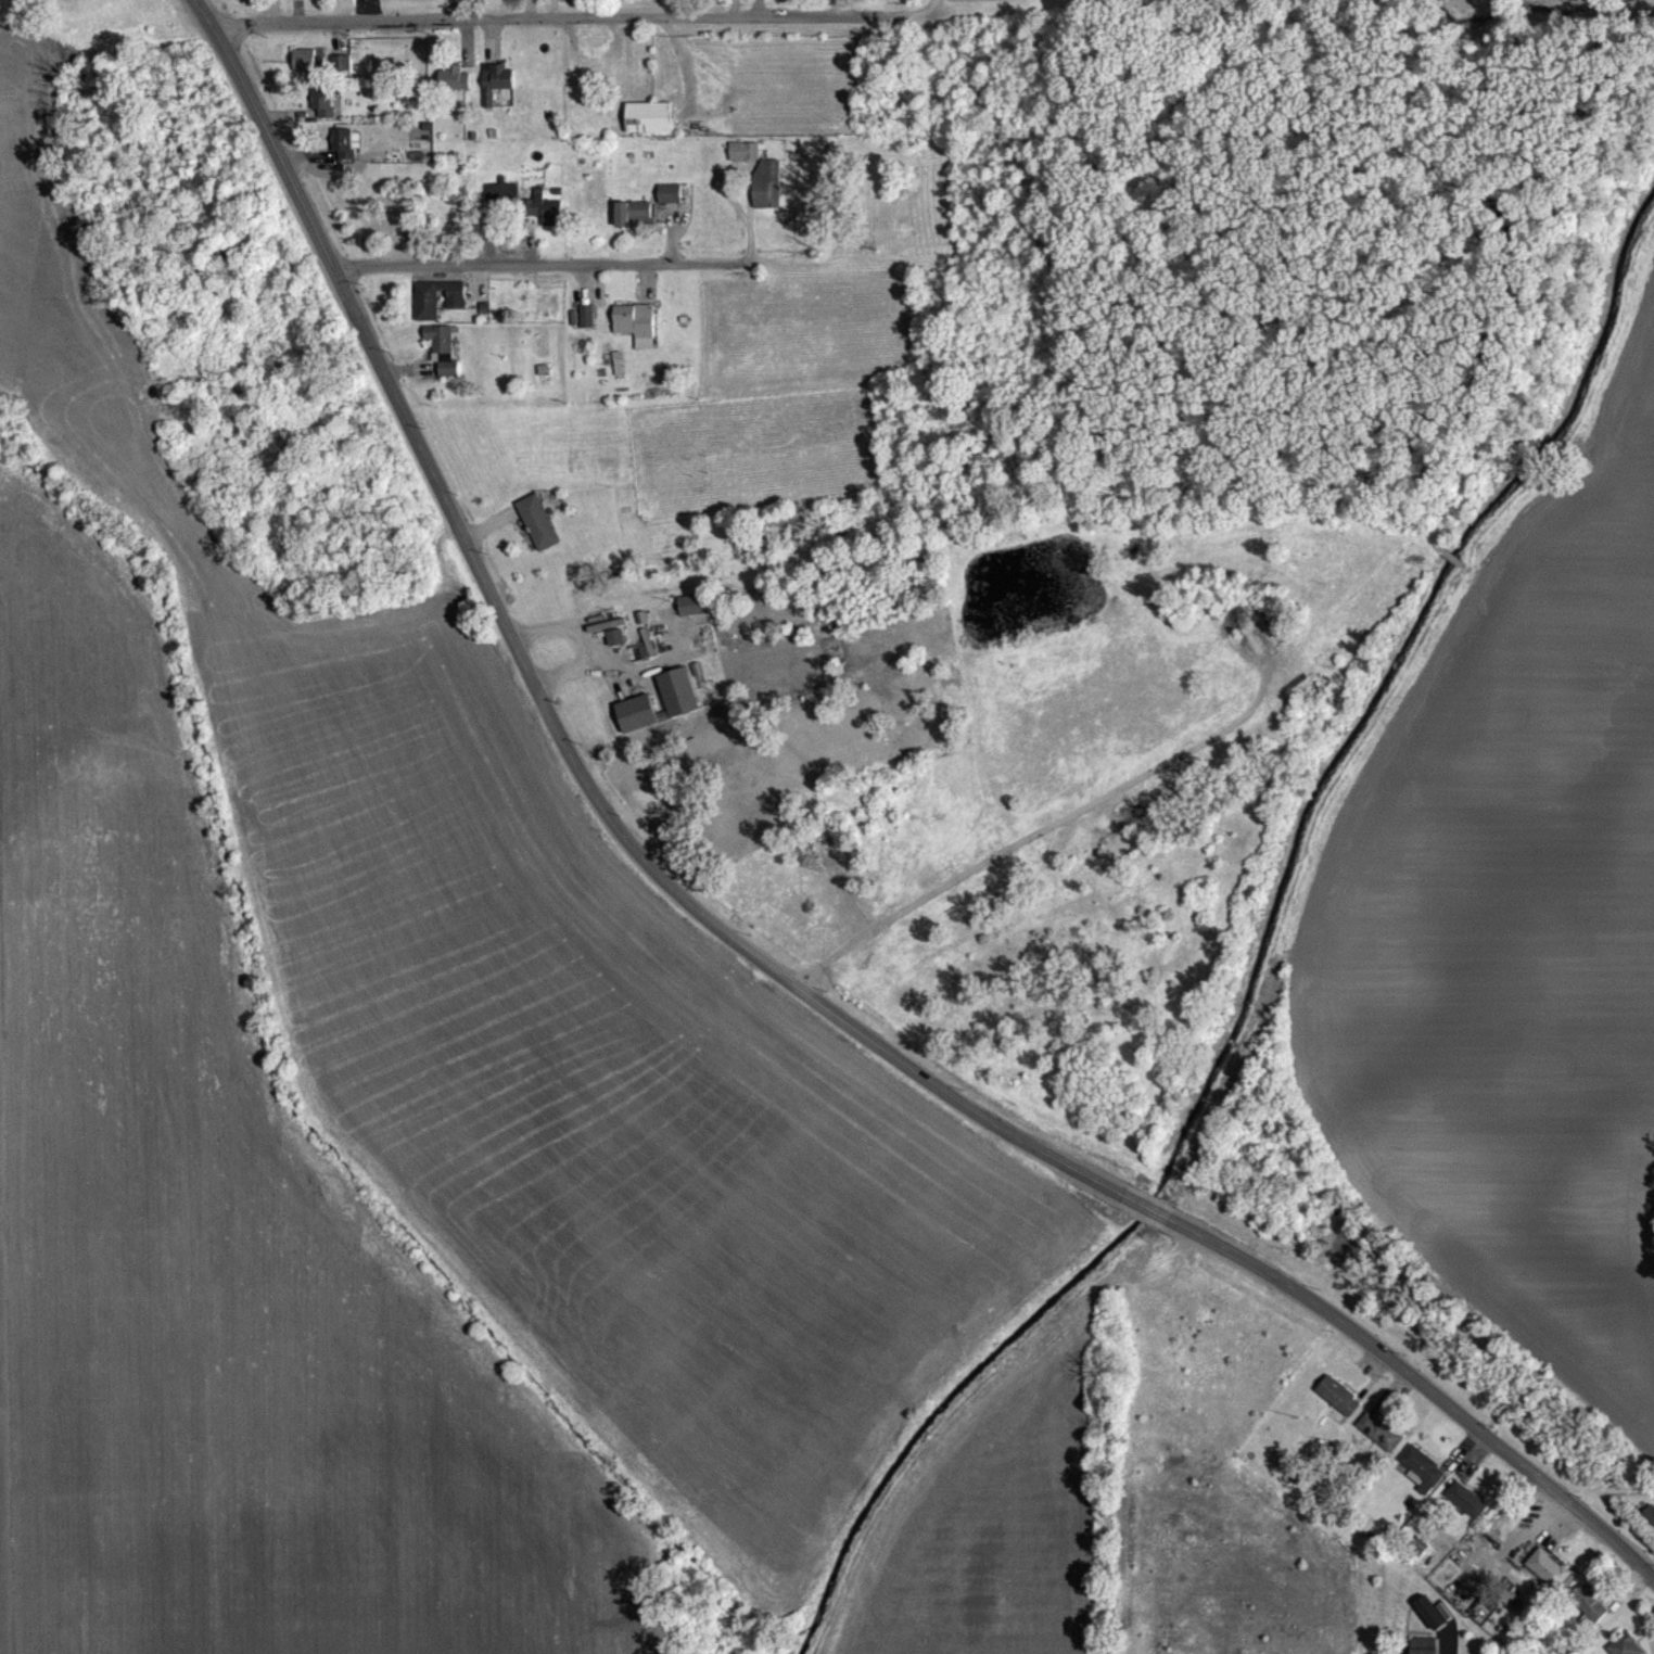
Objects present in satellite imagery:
road: (929, 2)
road: (457, 9)
road: (573, 17)
building: (308, 69)
building: (341, 75)
building: (454, 89)
building: (496, 91)
building: (323, 112)
building: (649, 127)
building: (345, 153)
building: (745, 162)
building: (767, 194)
building: (504, 203)
building: (670, 204)
building: (634, 224)
building: (383, 233)
road: (539, 263)
building: (437, 308)
building: (586, 326)
building: (634, 330)
building: (443, 360)
building: (538, 532)
building: (694, 614)
building: (615, 648)
road: (539, 697)
building: (680, 709)
road: (1078, 809)
road: (824, 960)
road: (1146, 1205)
road: (1422, 1383)
building: (1338, 1407)
building: (1381, 1441)
building: (1421, 1479)
building: (1467, 1510)
building: (1551, 1580)
building: (1466, 1606)
building: (1590, 1614)
building: (1430, 1624)
building: (1625, 1650)
building: (1424, 1651)

